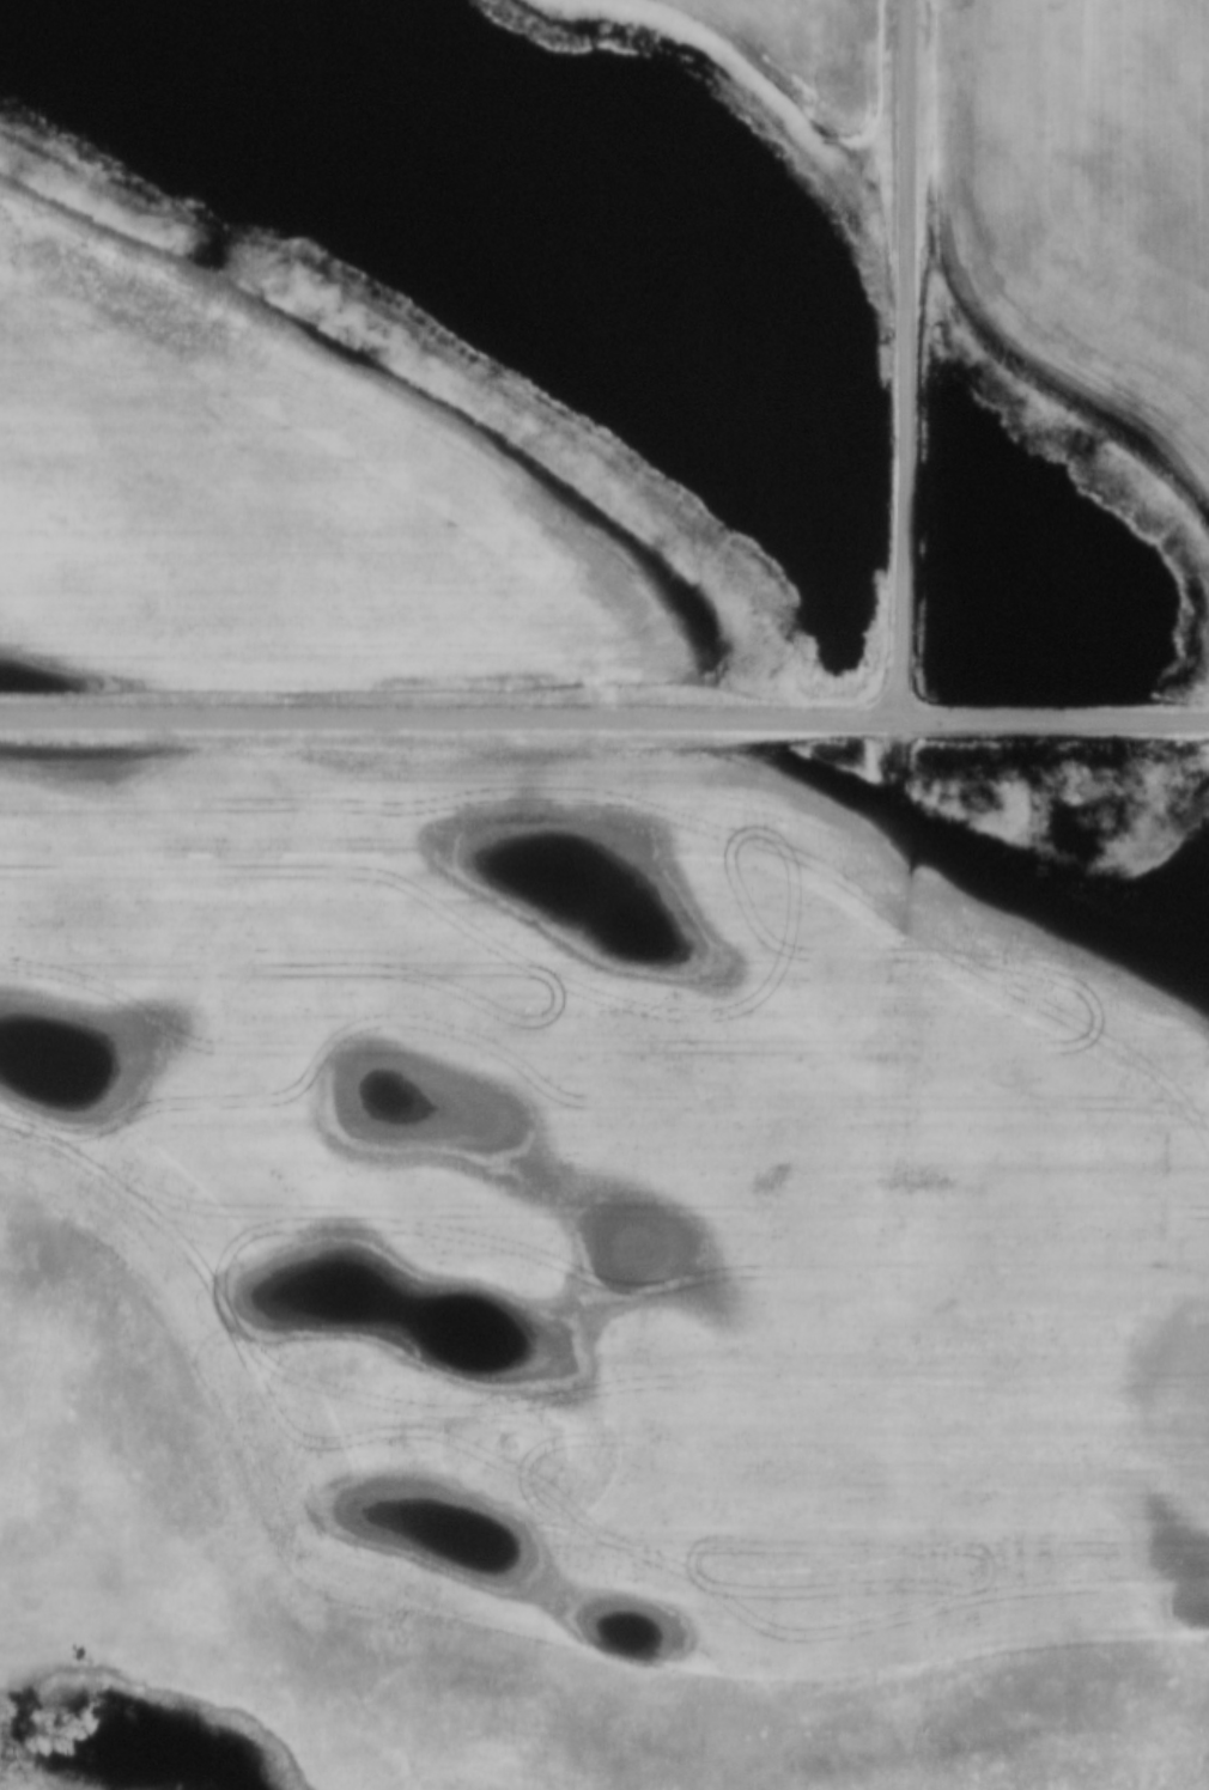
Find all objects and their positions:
road: (903, 361)
road: (603, 723)

